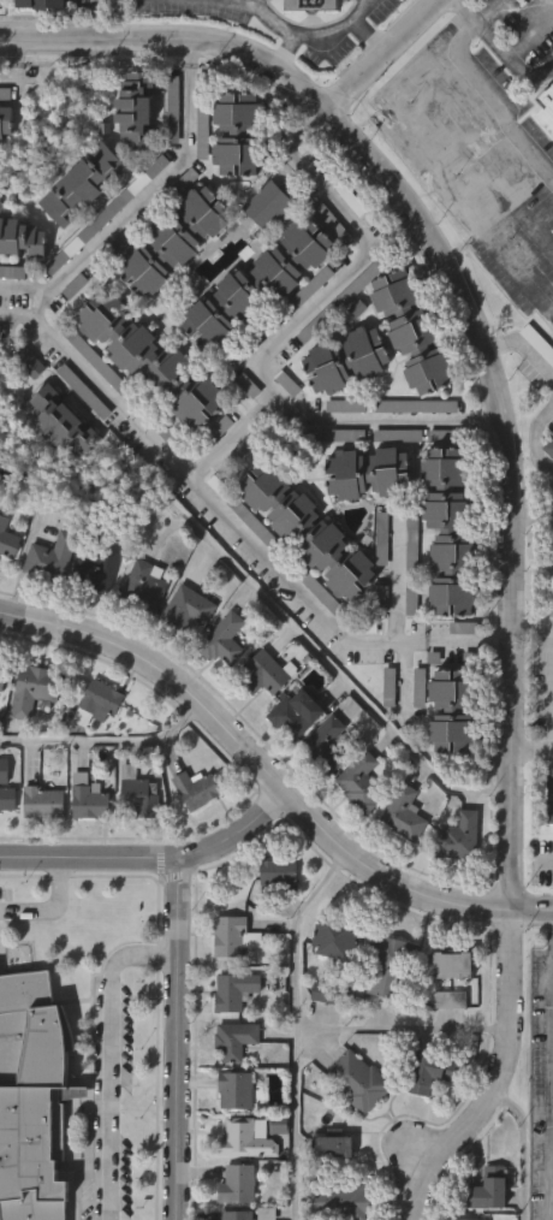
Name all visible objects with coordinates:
building: (0, 2)
building: (43, 5)
building: (315, 5)
road: (96, 19)
road: (279, 26)
road: (337, 32)
road: (367, 35)
road: (531, 37)
road: (188, 53)
road: (380, 55)
road: (506, 57)
road: (24, 69)
road: (488, 91)
building: (138, 112)
building: (548, 114)
building: (6, 123)
building: (237, 134)
road: (291, 146)
building: (84, 186)
building: (273, 202)
road: (131, 207)
building: (22, 236)
building: (171, 239)
building: (261, 282)
road: (41, 306)
road: (471, 315)
building: (416, 328)
road: (524, 343)
building: (539, 344)
building: (349, 357)
building: (153, 359)
building: (30, 361)
road: (258, 362)
building: (63, 420)
road: (486, 420)
road: (233, 434)
road: (534, 443)
building: (549, 446)
building: (364, 473)
road: (547, 501)
road: (534, 511)
road: (225, 515)
building: (304, 529)
building: (453, 529)
building: (8, 538)
building: (52, 557)
building: (95, 569)
road: (396, 579)
building: (145, 586)
building: (190, 608)
building: (225, 639)
road: (498, 642)
building: (263, 673)
road: (339, 675)
building: (2, 676)
building: (35, 689)
building: (385, 689)
building: (415, 689)
building: (100, 700)
building: (298, 712)
building: (454, 712)
road: (106, 739)
building: (328, 745)
road: (533, 747)
road: (254, 764)
building: (4, 770)
building: (362, 782)
building: (202, 786)
building: (141, 793)
building: (551, 795)
building: (89, 796)
building: (7, 798)
building: (43, 803)
building: (405, 813)
building: (459, 836)
building: (191, 840)
building: (352, 840)
building: (132, 846)
building: (5, 849)
building: (83, 852)
building: (37, 853)
road: (546, 860)
road: (151, 864)
building: (398, 865)
building: (281, 872)
building: (453, 889)
road: (46, 904)
road: (533, 912)
building: (273, 926)
building: (232, 936)
building: (338, 940)
building: (456, 965)
building: (391, 966)
building: (232, 993)
building: (331, 994)
building: (451, 1000)
building: (446, 1015)
building: (380, 1018)
road: (314, 1024)
building: (237, 1040)
road: (182, 1041)
building: (316, 1043)
building: (445, 1050)
road: (111, 1055)
building: (432, 1073)
road: (551, 1078)
building: (359, 1080)
road: (500, 1082)
building: (237, 1090)
building: (34, 1097)
road: (295, 1115)
building: (423, 1124)
building: (352, 1131)
building: (248, 1139)
building: (335, 1149)
building: (273, 1175)
building: (239, 1184)
building: (489, 1190)
building: (341, 1201)
building: (238, 1215)
building: (489, 1218)

